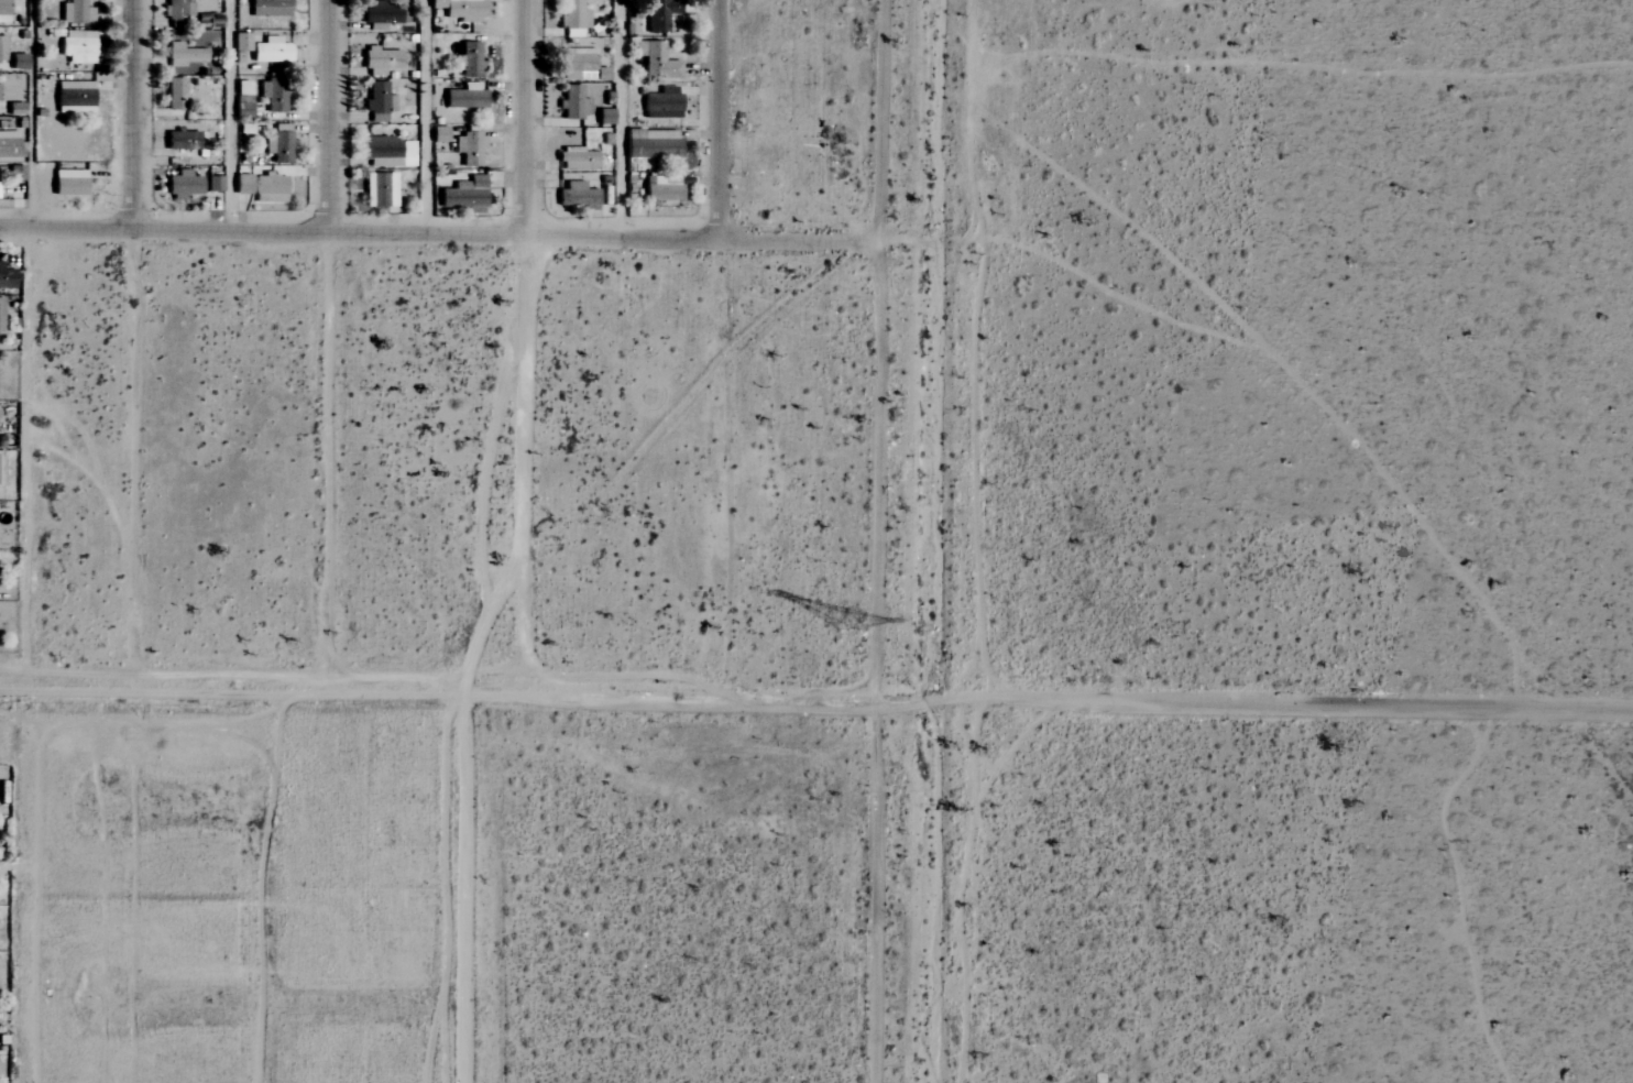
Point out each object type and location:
building: (268, 8)
building: (461, 9)
building: (3, 11)
building: (76, 12)
building: (383, 13)
building: (659, 14)
building: (573, 19)
building: (241, 42)
building: (78, 46)
building: (2, 50)
building: (270, 52)
building: (185, 55)
building: (380, 61)
building: (468, 61)
building: (655, 61)
building: (577, 65)
building: (175, 95)
building: (271, 95)
building: (592, 97)
building: (74, 98)
building: (463, 99)
building: (376, 102)
building: (572, 103)
building: (660, 103)
road: (136, 114)
road: (329, 116)
road: (425, 117)
road: (525, 117)
road: (620, 118)
road: (719, 119)
building: (180, 140)
building: (650, 144)
building: (9, 145)
building: (277, 147)
building: (468, 149)
building: (387, 151)
building: (577, 160)
building: (67, 183)
building: (213, 184)
building: (241, 184)
building: (182, 186)
building: (268, 188)
building: (660, 189)
building: (379, 190)
building: (463, 196)
building: (577, 196)
road: (438, 233)
road: (930, 242)
building: (7, 277)
building: (1, 314)
road: (874, 540)
power tower: (847, 625)
road: (275, 692)
road: (1092, 702)
road: (274, 959)

